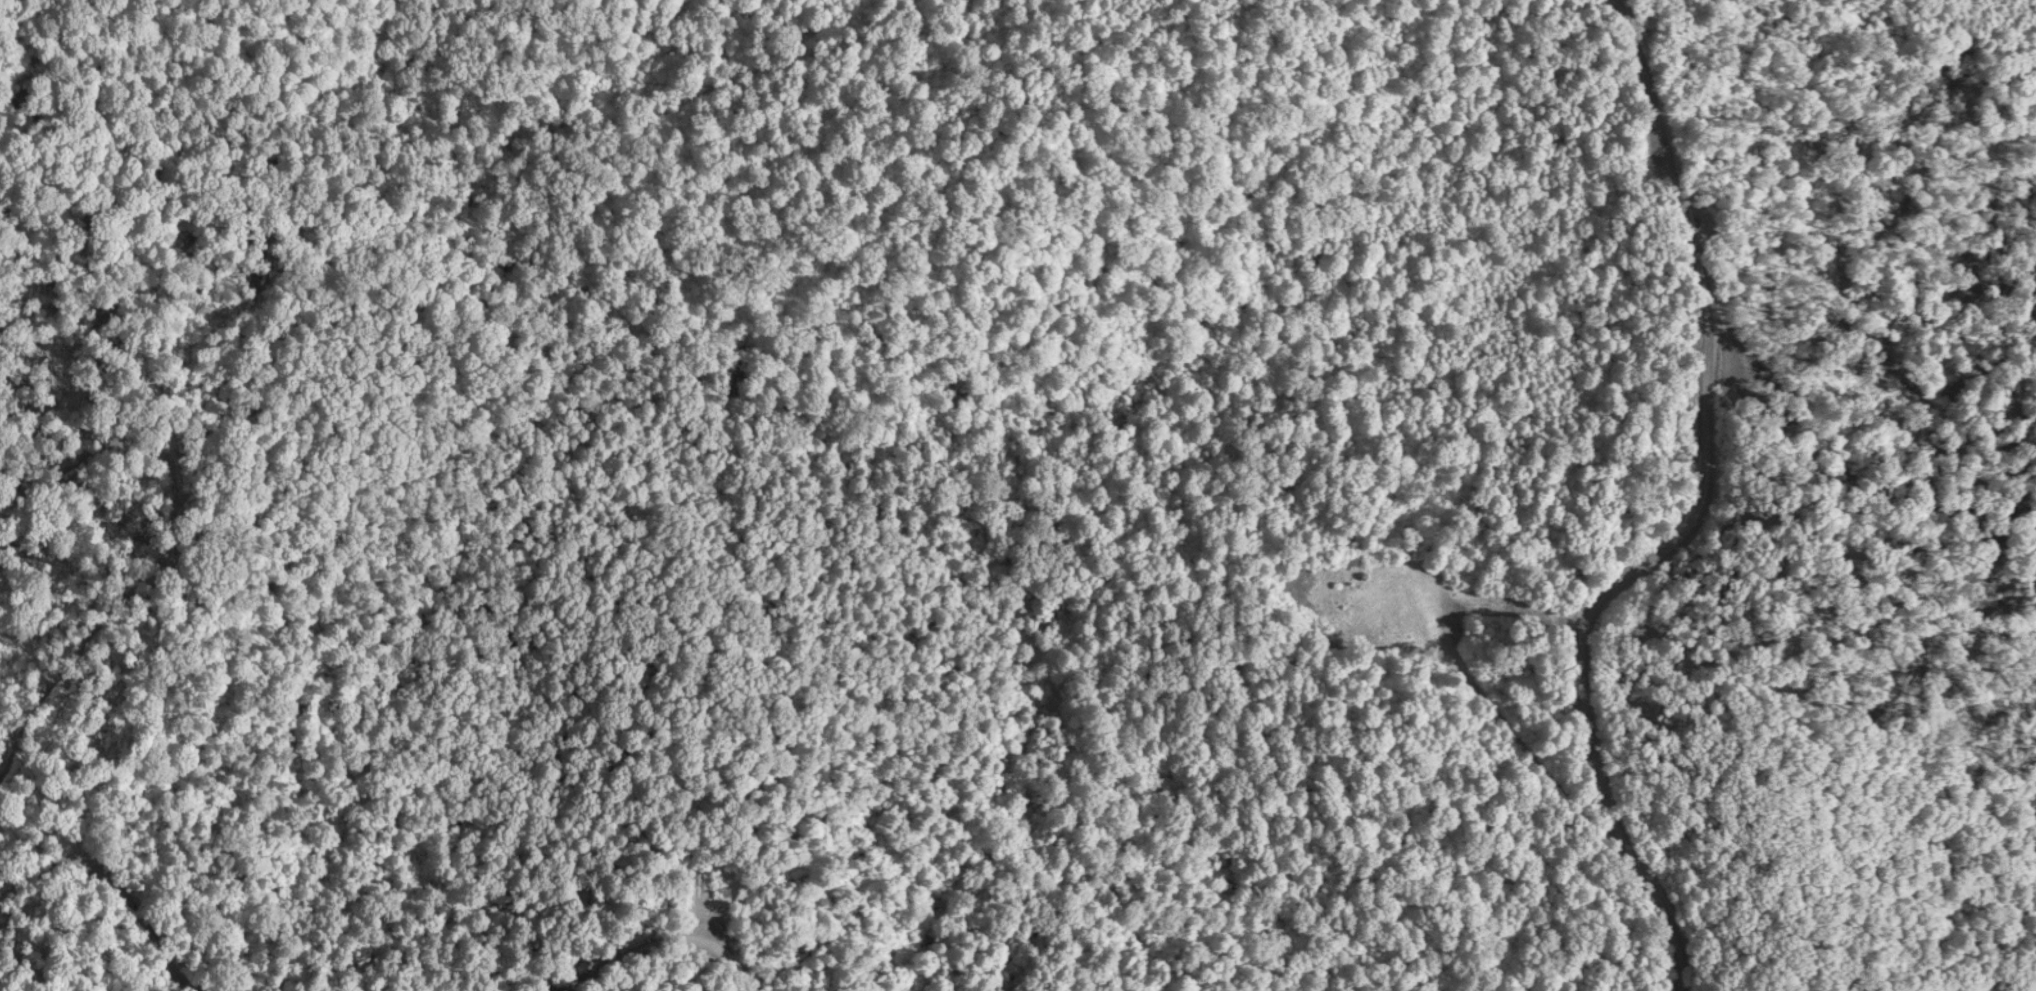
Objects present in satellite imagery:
road: (1621, 30)
road: (1684, 220)
road: (1582, 671)
road: (363, 984)

